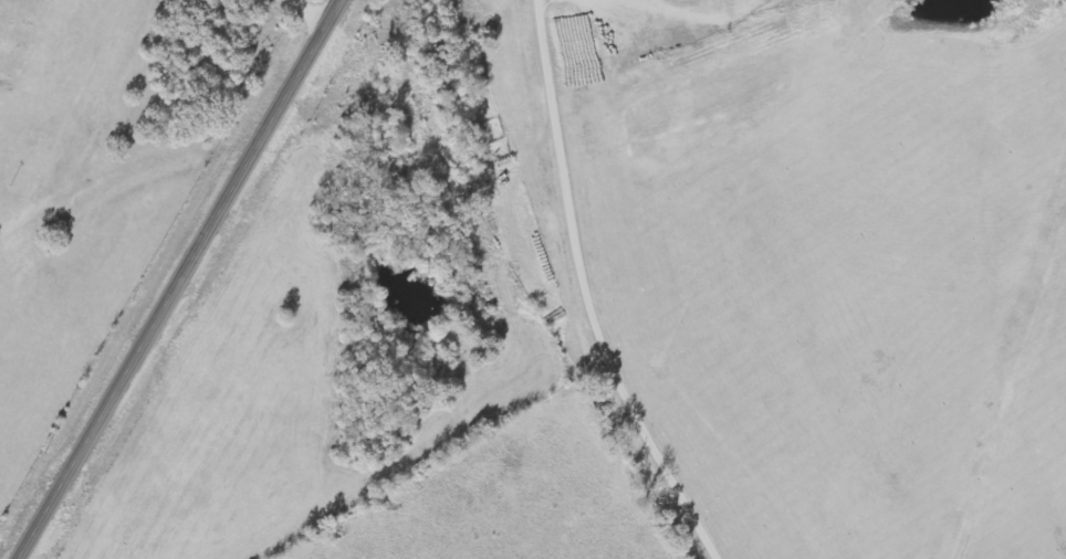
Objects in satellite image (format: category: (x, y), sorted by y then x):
road: (177, 279)

